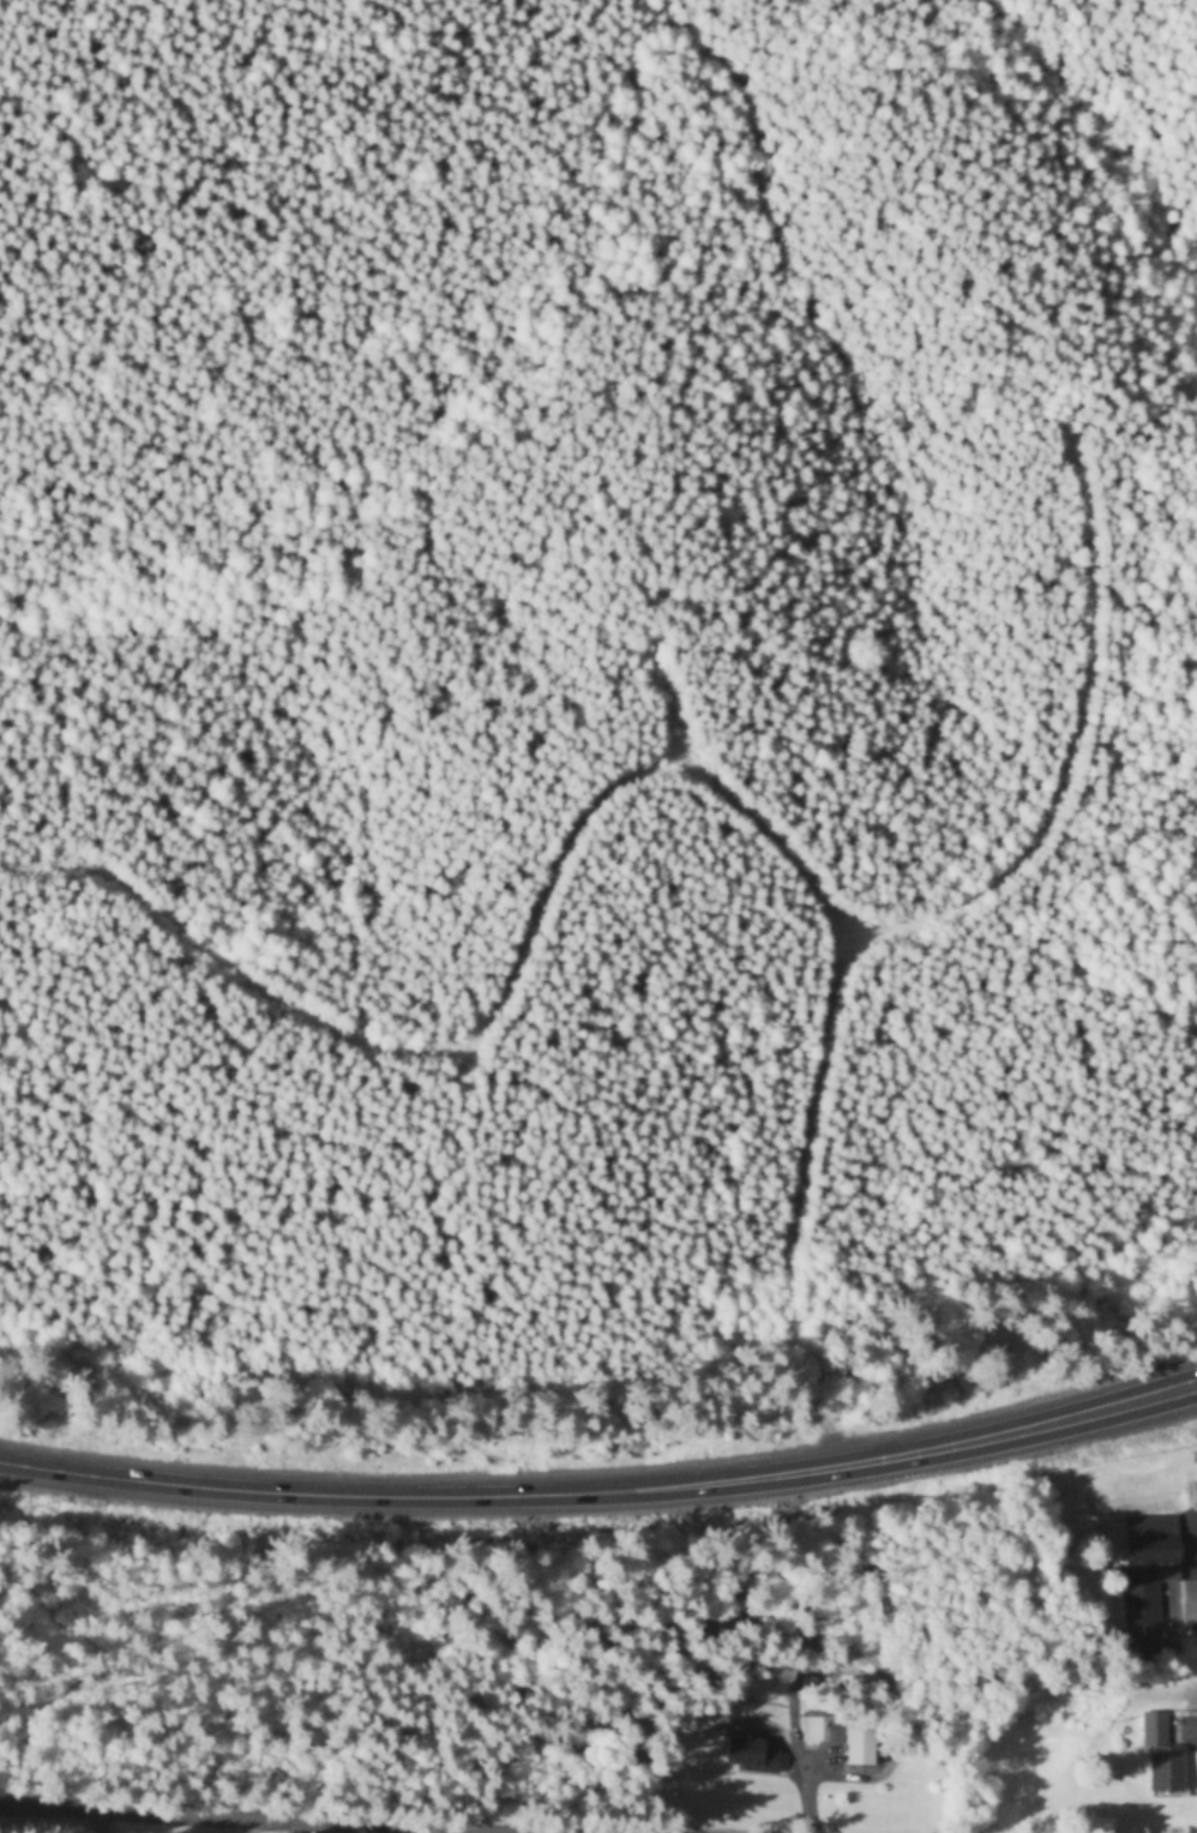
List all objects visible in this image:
road: (657, 709)
road: (880, 933)
road: (491, 1004)
road: (603, 1491)
building: (1195, 1500)
road: (1189, 1569)
building: (1147, 1580)
building: (858, 1745)
building: (1162, 1756)
building: (744, 1757)
road: (155, 1822)

